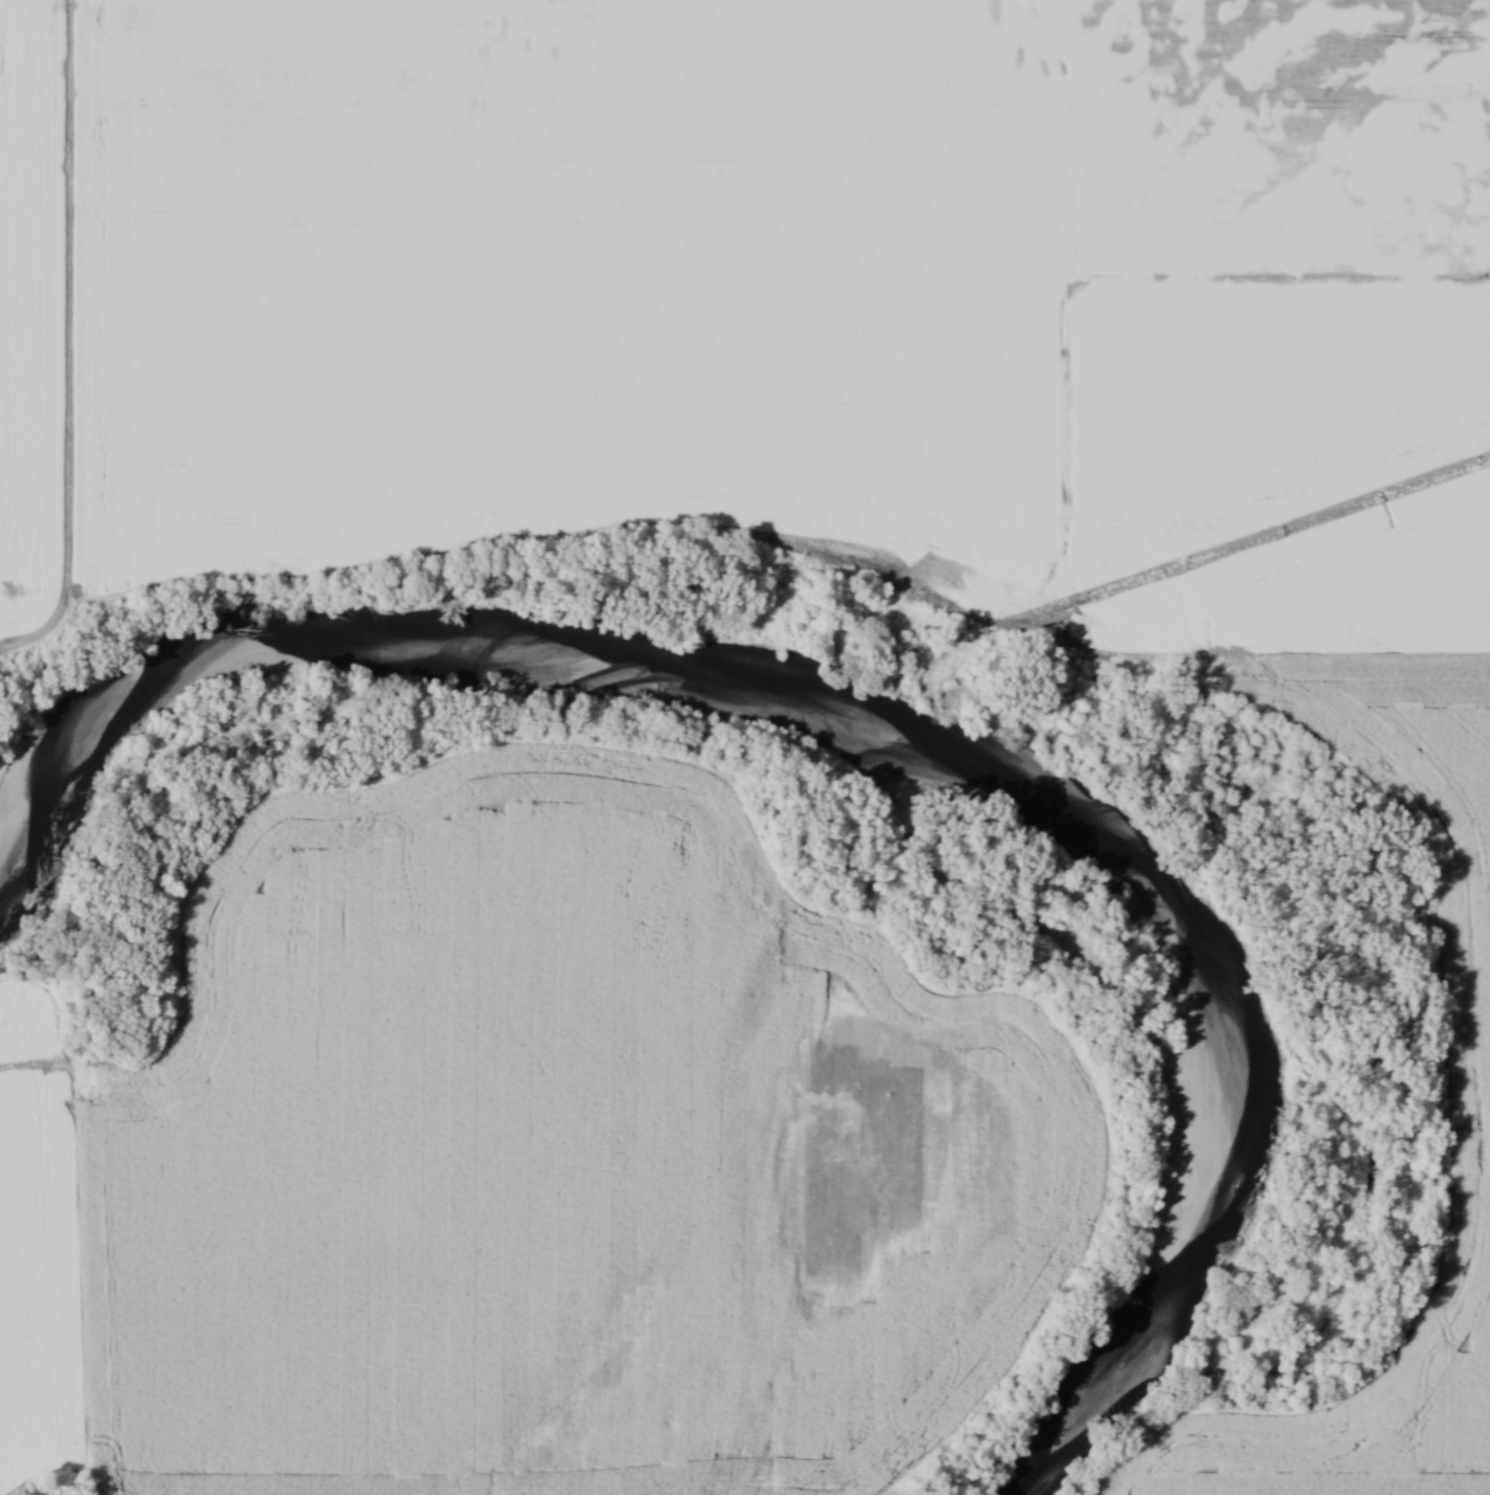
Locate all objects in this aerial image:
river: (894, 742)

